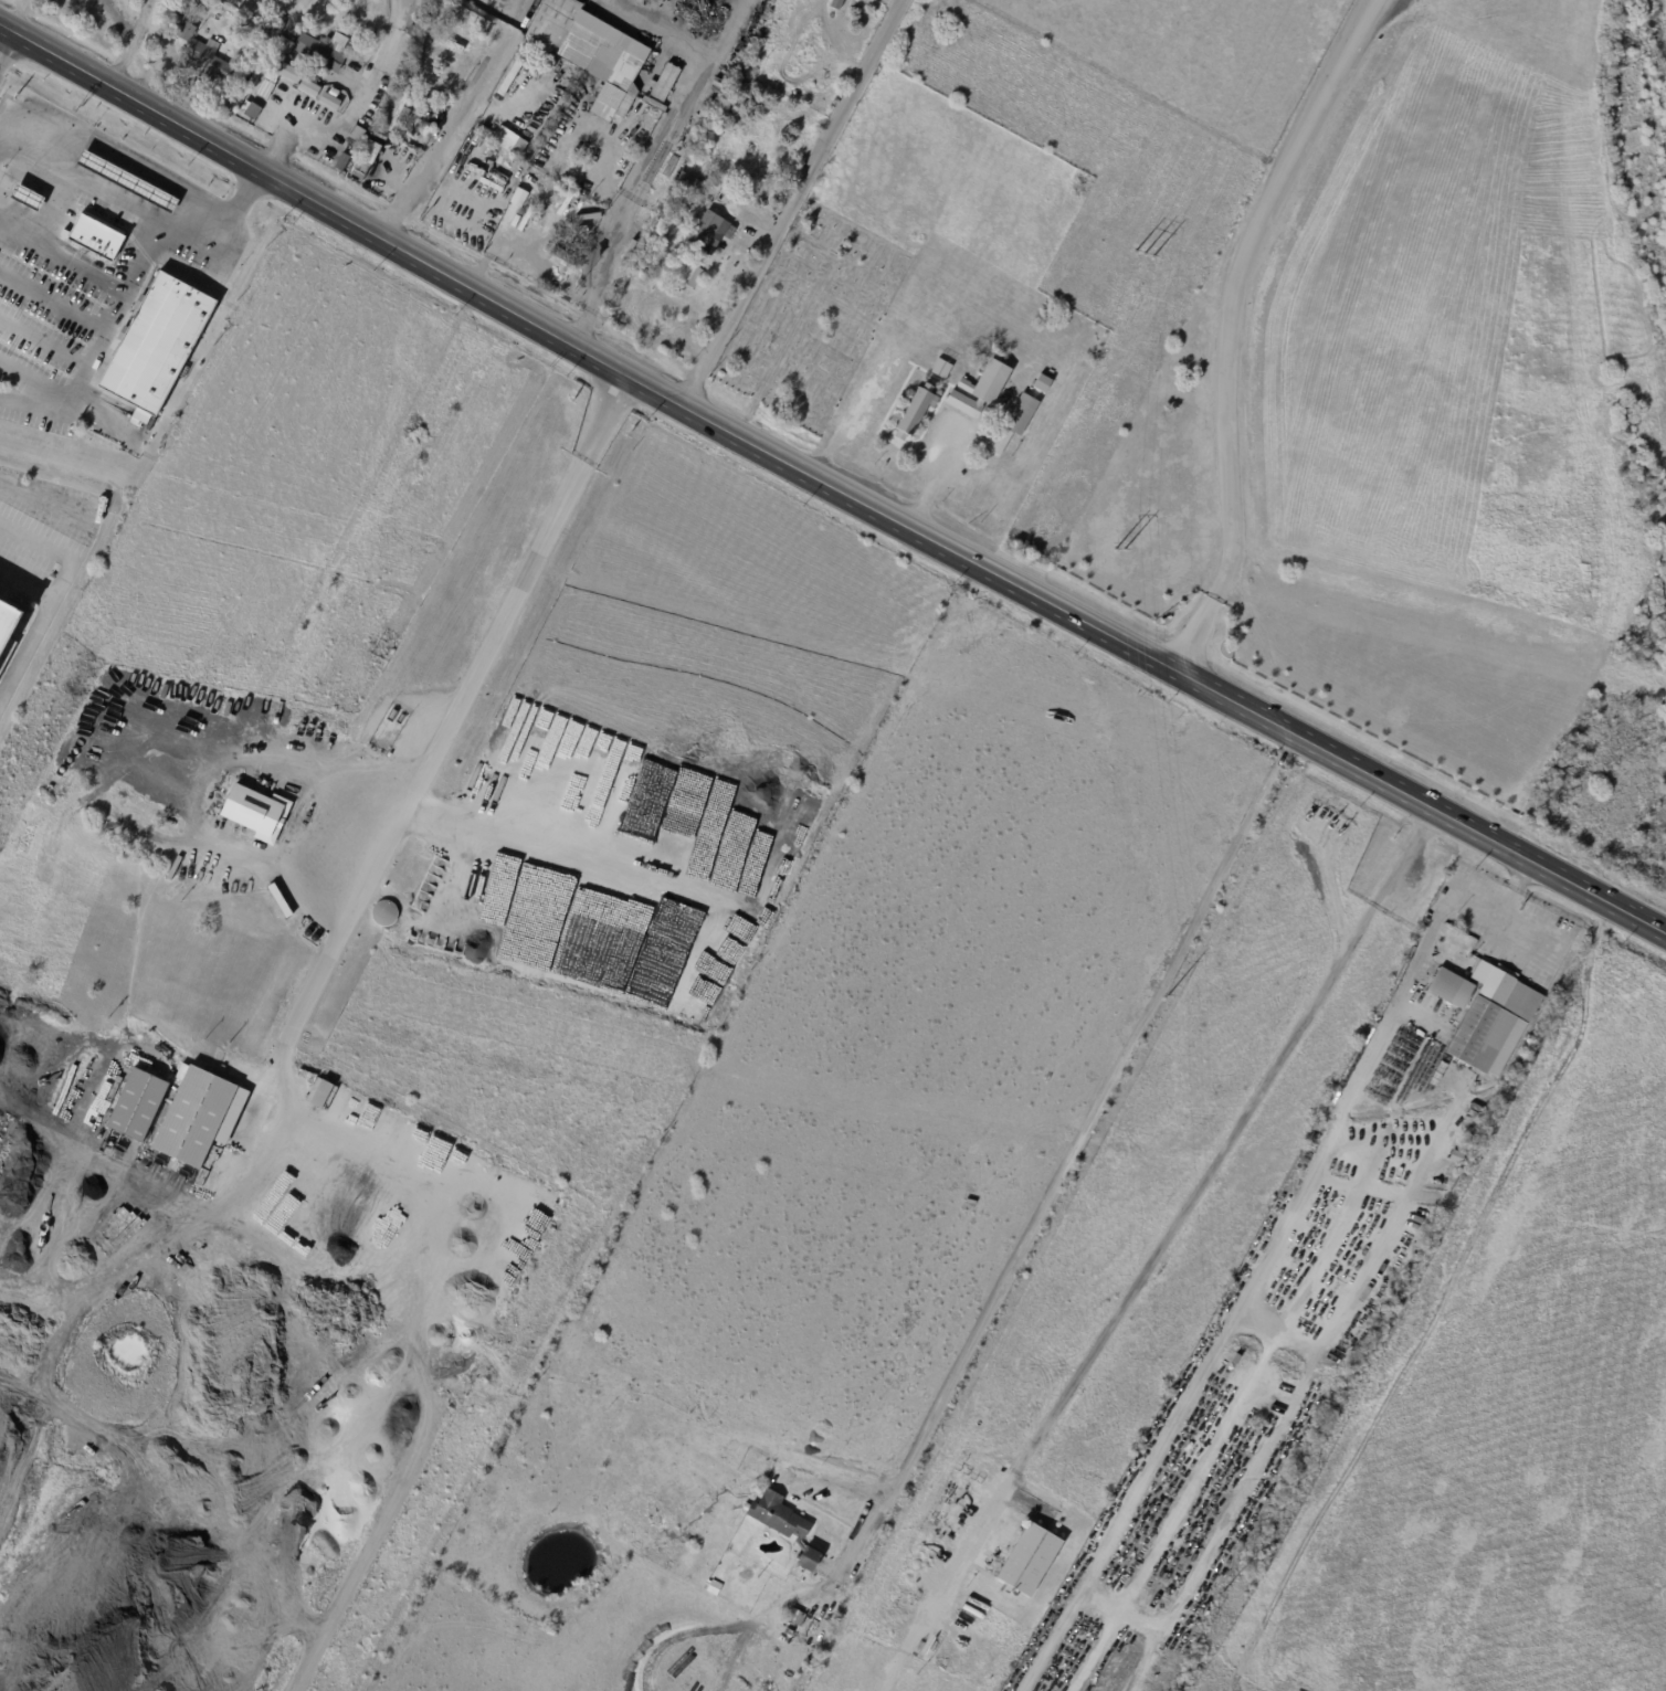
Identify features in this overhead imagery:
building: (205, 2)
building: (779, 7)
road: (17, 14)
building: (471, 15)
building: (411, 31)
building: (187, 32)
road: (4, 40)
road: (133, 44)
building: (318, 50)
building: (401, 53)
building: (804, 53)
power substation: (1196, 53)
building: (590, 55)
building: (210, 60)
building: (665, 83)
building: (719, 86)
building: (336, 95)
building: (331, 103)
building: (373, 105)
road: (351, 108)
building: (398, 110)
building: (706, 110)
road: (455, 120)
building: (507, 140)
road: (653, 147)
building: (371, 152)
road: (485, 162)
building: (495, 162)
road: (131, 165)
building: (538, 165)
building: (126, 180)
building: (698, 187)
building: (529, 202)
road: (789, 203)
building: (514, 212)
building: (708, 231)
building: (95, 235)
road: (503, 244)
power tower: (1140, 252)
building: (563, 257)
building: (689, 275)
building: (689, 294)
road: (51, 302)
road: (844, 308)
park: (812, 317)
road: (105, 324)
road: (1244, 328)
building: (156, 345)
building: (942, 366)
building: (1041, 382)
building: (979, 389)
building: (915, 412)
building: (1015, 422)
road: (827, 451)
road: (930, 472)
road: (829, 486)
power tower: (1120, 552)
road: (38, 623)
building: (10, 633)
road: (446, 711)
building: (597, 810)
building: (262, 813)
building: (1528, 969)
road: (1402, 987)
building: (1452, 987)
power tower: (1162, 990)
building: (1493, 1019)
building: (321, 1095)
building: (139, 1105)
building: (193, 1117)
road: (1077, 1145)
road: (1158, 1248)
road: (1274, 1334)
road: (1287, 1404)
road: (1162, 1435)
road: (1220, 1440)
building: (783, 1525)
building: (1029, 1560)
building: (713, 1587)
power tower: (1220, 1588)
road: (1121, 1599)
building: (824, 1603)
building: (781, 1611)
building: (802, 1621)

